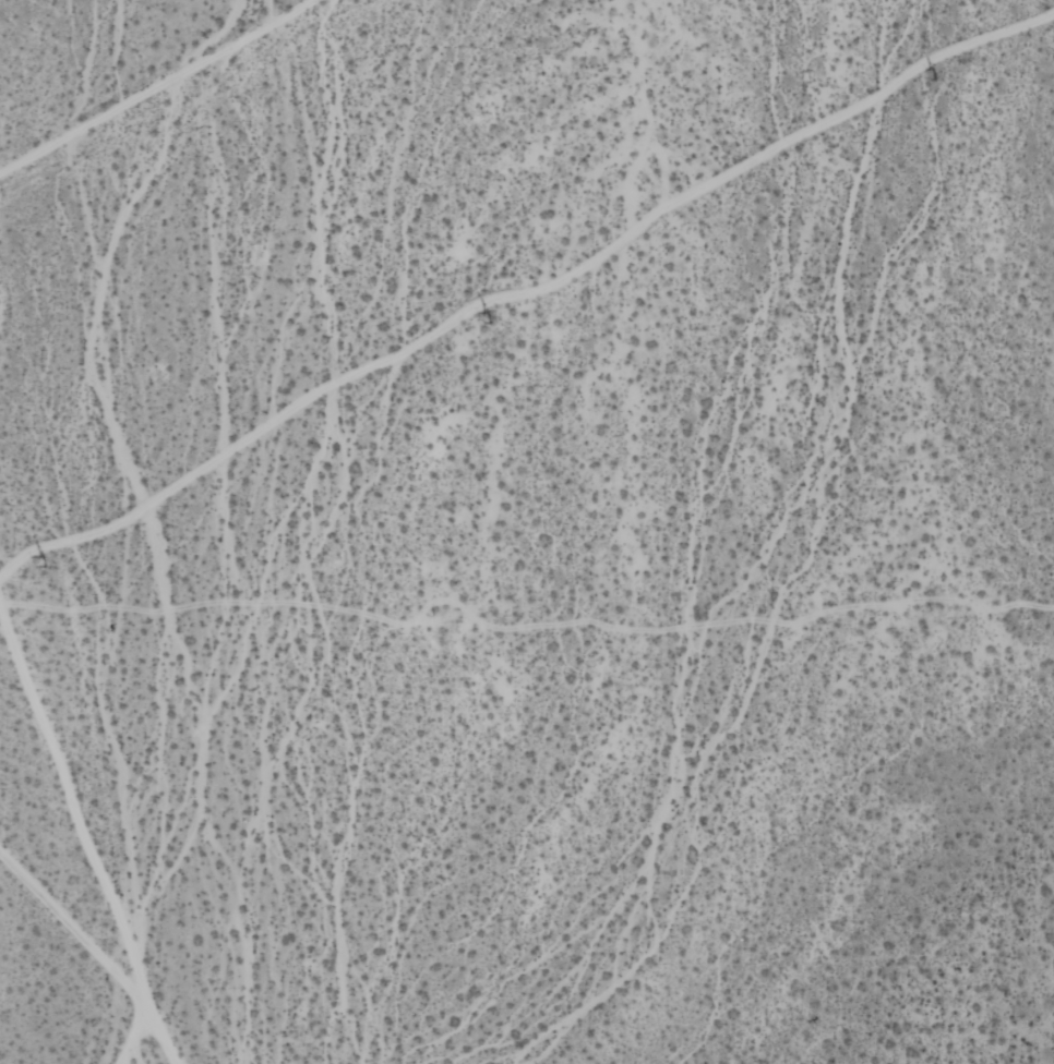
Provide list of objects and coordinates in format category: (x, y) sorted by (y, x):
power tower: (930, 73)
road: (158, 87)
power tower: (488, 318)
power tower: (43, 560)

